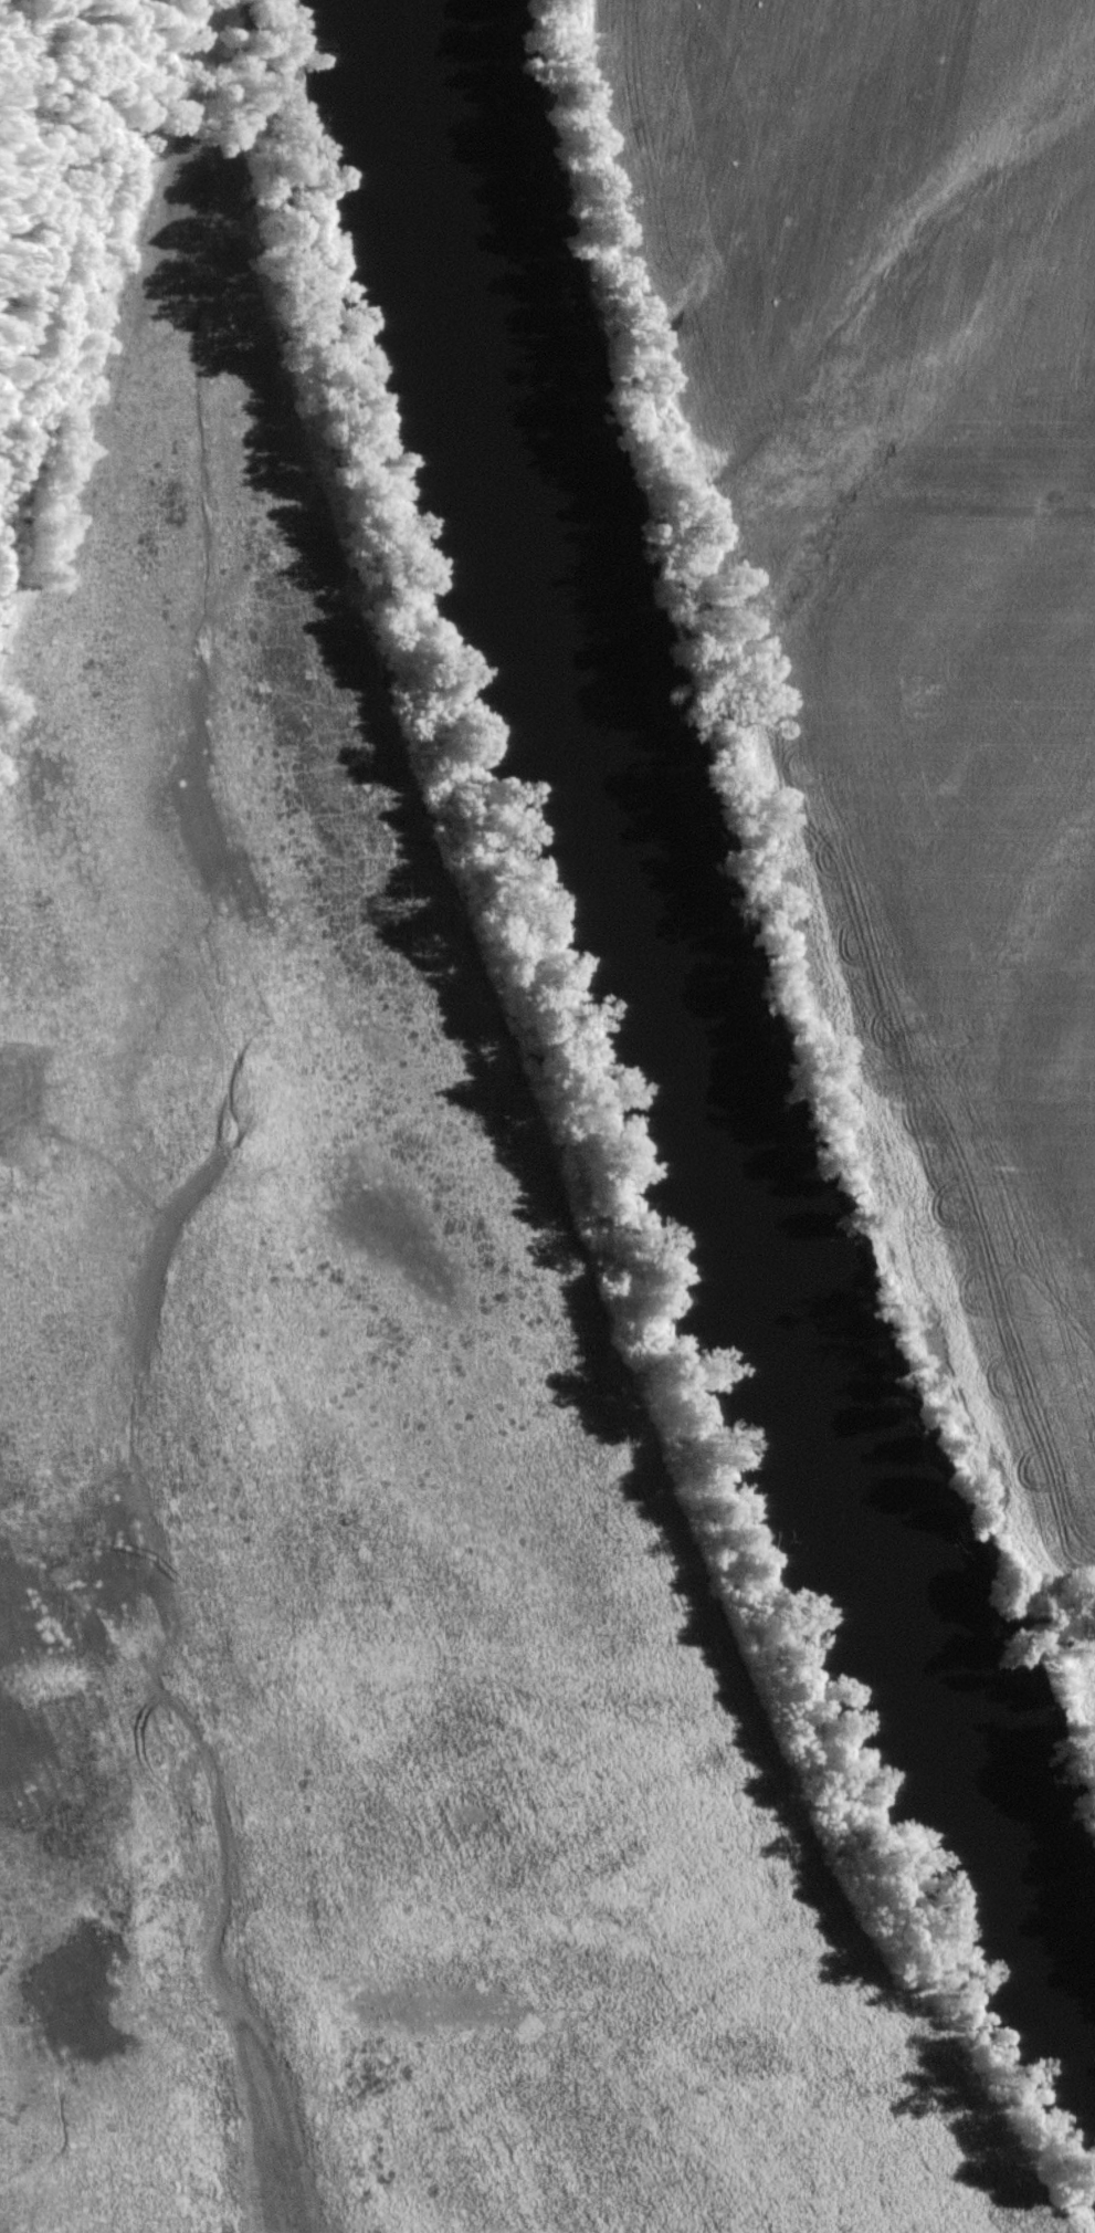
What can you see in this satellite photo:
river: (675, 1038)
road: (54, 2136)

